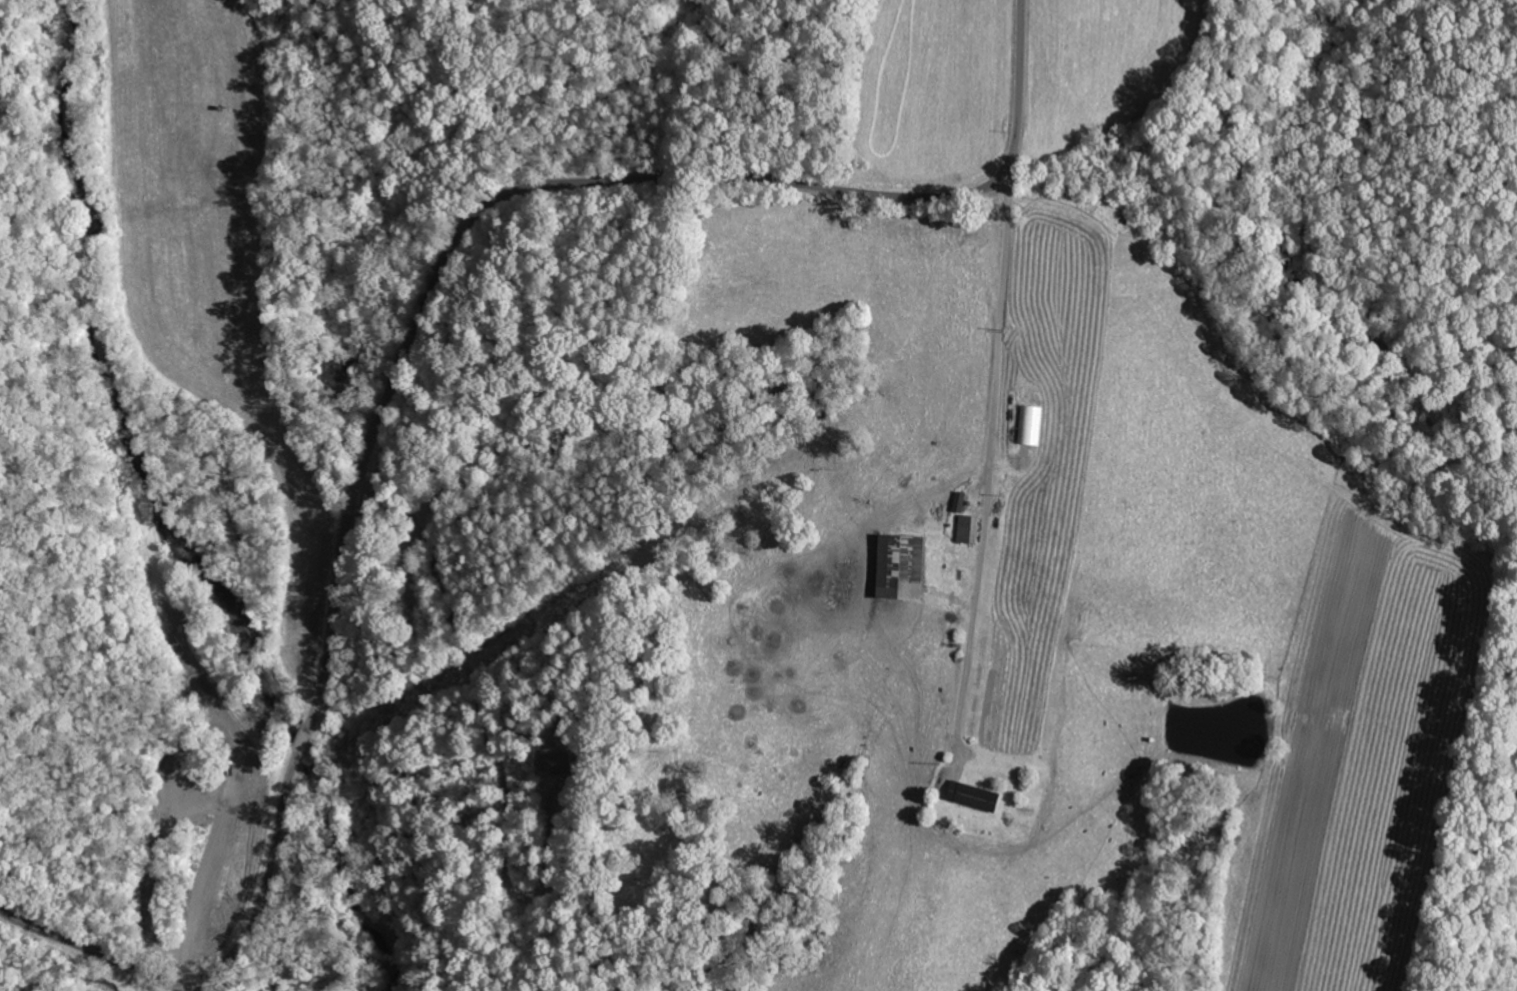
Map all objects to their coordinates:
road: (440, 264)
road: (610, 329)
building: (1029, 424)
road: (964, 449)
building: (967, 528)
building: (903, 567)
road: (560, 619)
building: (557, 762)
building: (975, 796)
road: (93, 951)
road: (188, 988)

